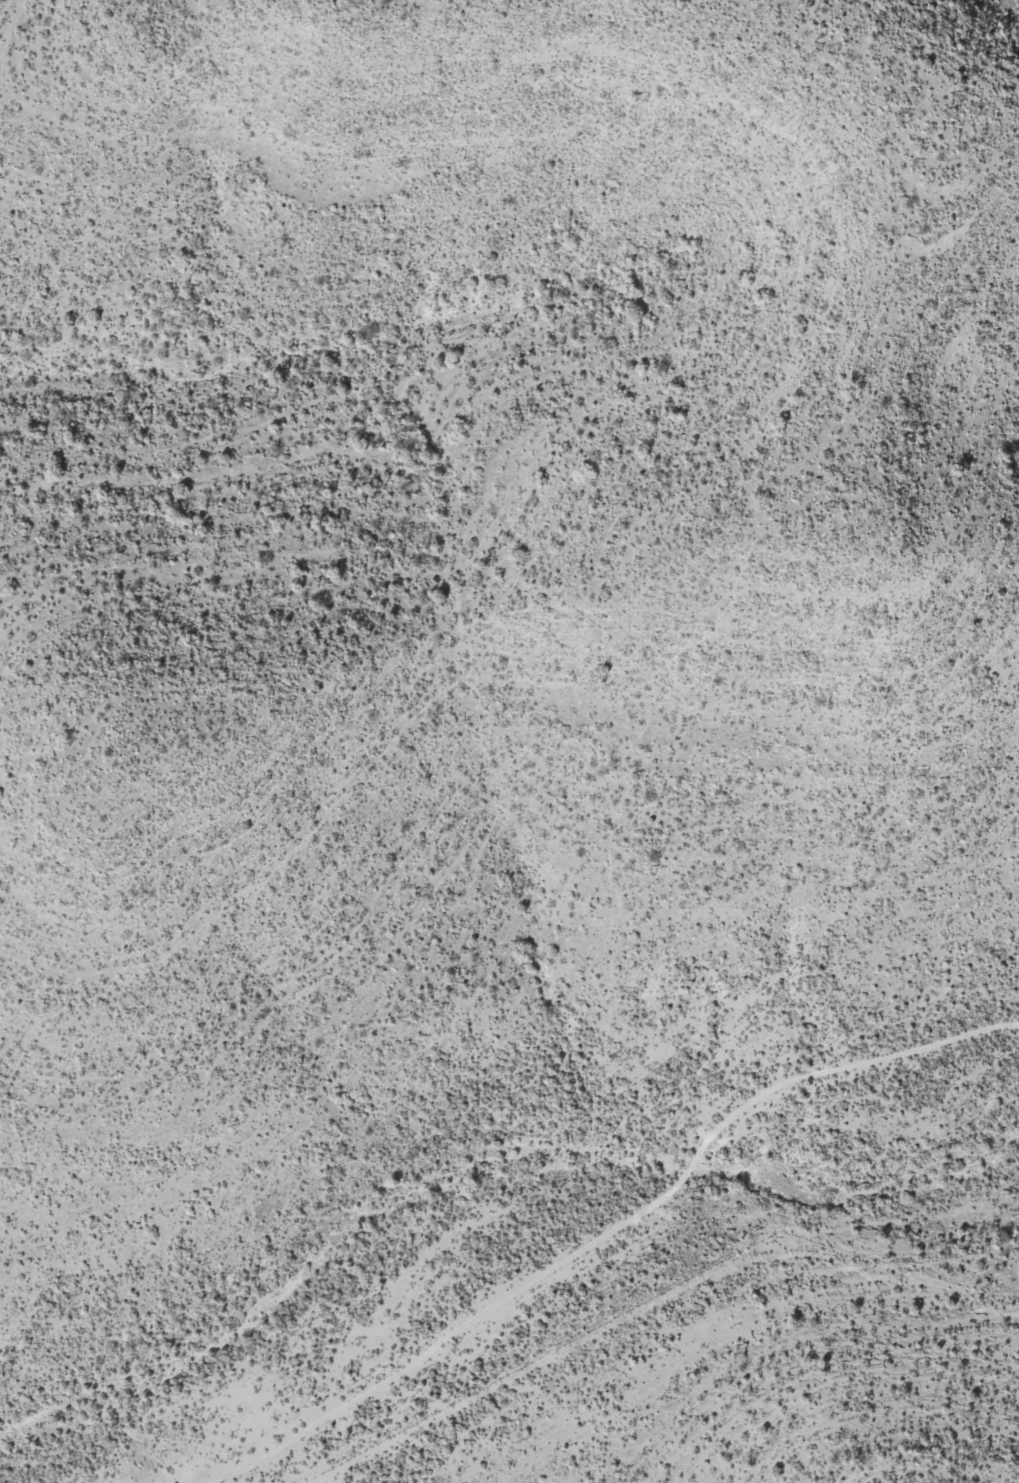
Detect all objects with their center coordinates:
road: (610, 1236)

